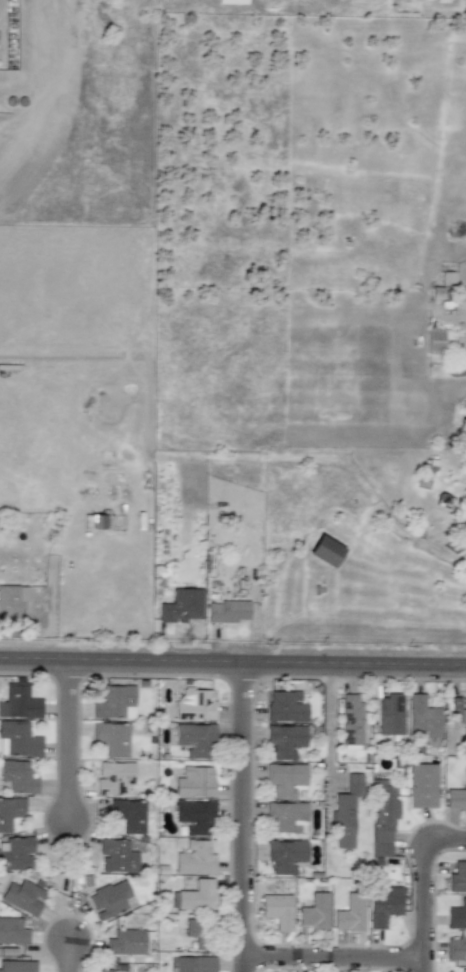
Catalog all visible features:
building: (232, 1)
building: (435, 341)
building: (95, 522)
building: (324, 551)
building: (11, 601)
building: (181, 606)
building: (227, 611)
road: (89, 662)
road: (322, 664)
building: (19, 702)
building: (114, 702)
building: (194, 704)
building: (456, 705)
building: (285, 707)
building: (465, 711)
building: (390, 715)
building: (422, 718)
building: (351, 719)
road: (328, 724)
building: (111, 738)
building: (17, 739)
building: (195, 740)
building: (284, 740)
road: (70, 742)
building: (17, 776)
building: (113, 777)
building: (285, 779)
building: (195, 782)
building: (422, 785)
building: (457, 796)
building: (9, 811)
building: (345, 812)
building: (128, 815)
building: (194, 816)
building: (382, 816)
building: (286, 817)
road: (244, 818)
building: (15, 853)
building: (284, 855)
building: (116, 856)
building: (194, 859)
building: (457, 878)
road: (426, 880)
building: (197, 895)
building: (23, 896)
building: (110, 899)
building: (383, 905)
building: (277, 910)
building: (315, 912)
building: (349, 914)
building: (456, 915)
building: (11, 931)
building: (198, 933)
building: (125, 942)
building: (456, 948)
road: (71, 957)
road: (335, 959)
building: (194, 964)
building: (16, 966)
road: (426, 966)
building: (462, 970)
building: (102, 971)

